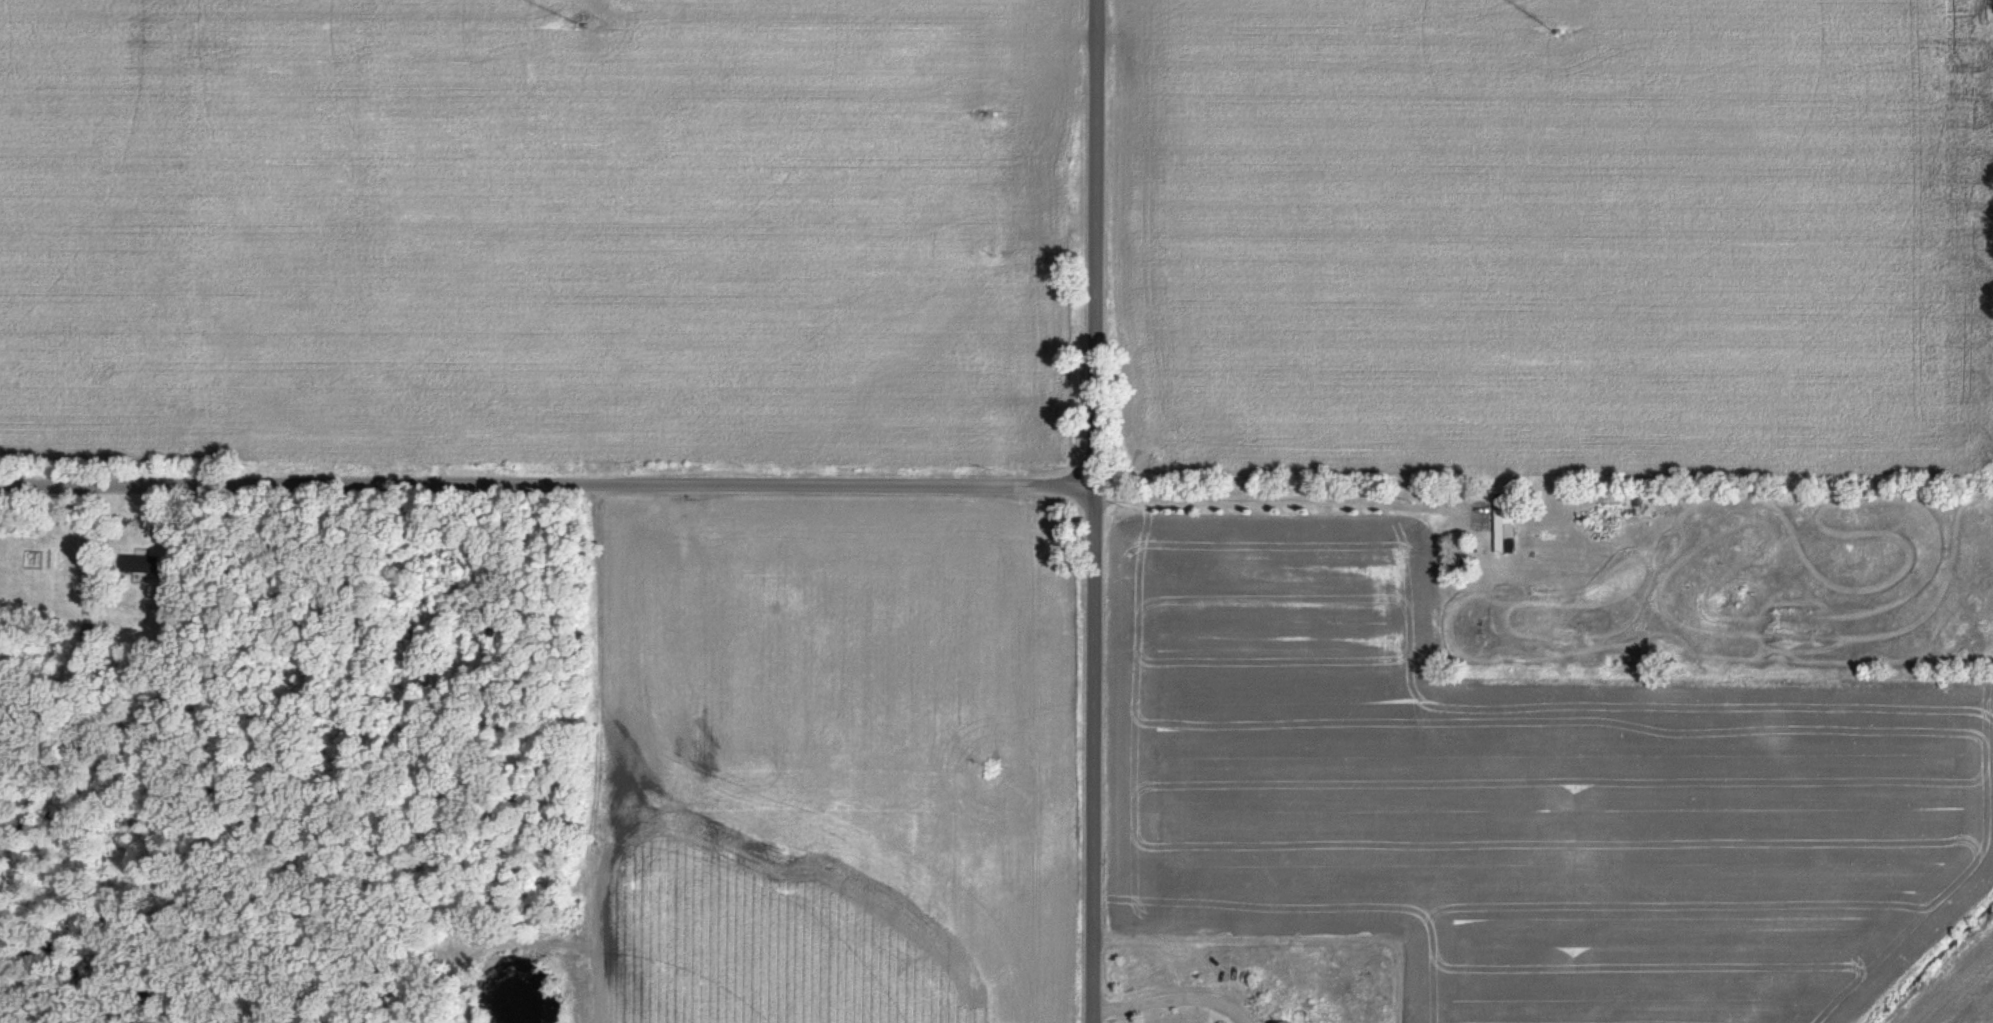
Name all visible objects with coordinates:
road: (547, 480)
road: (1094, 511)
building: (1503, 537)
building: (145, 563)
building: (1277, 1022)

